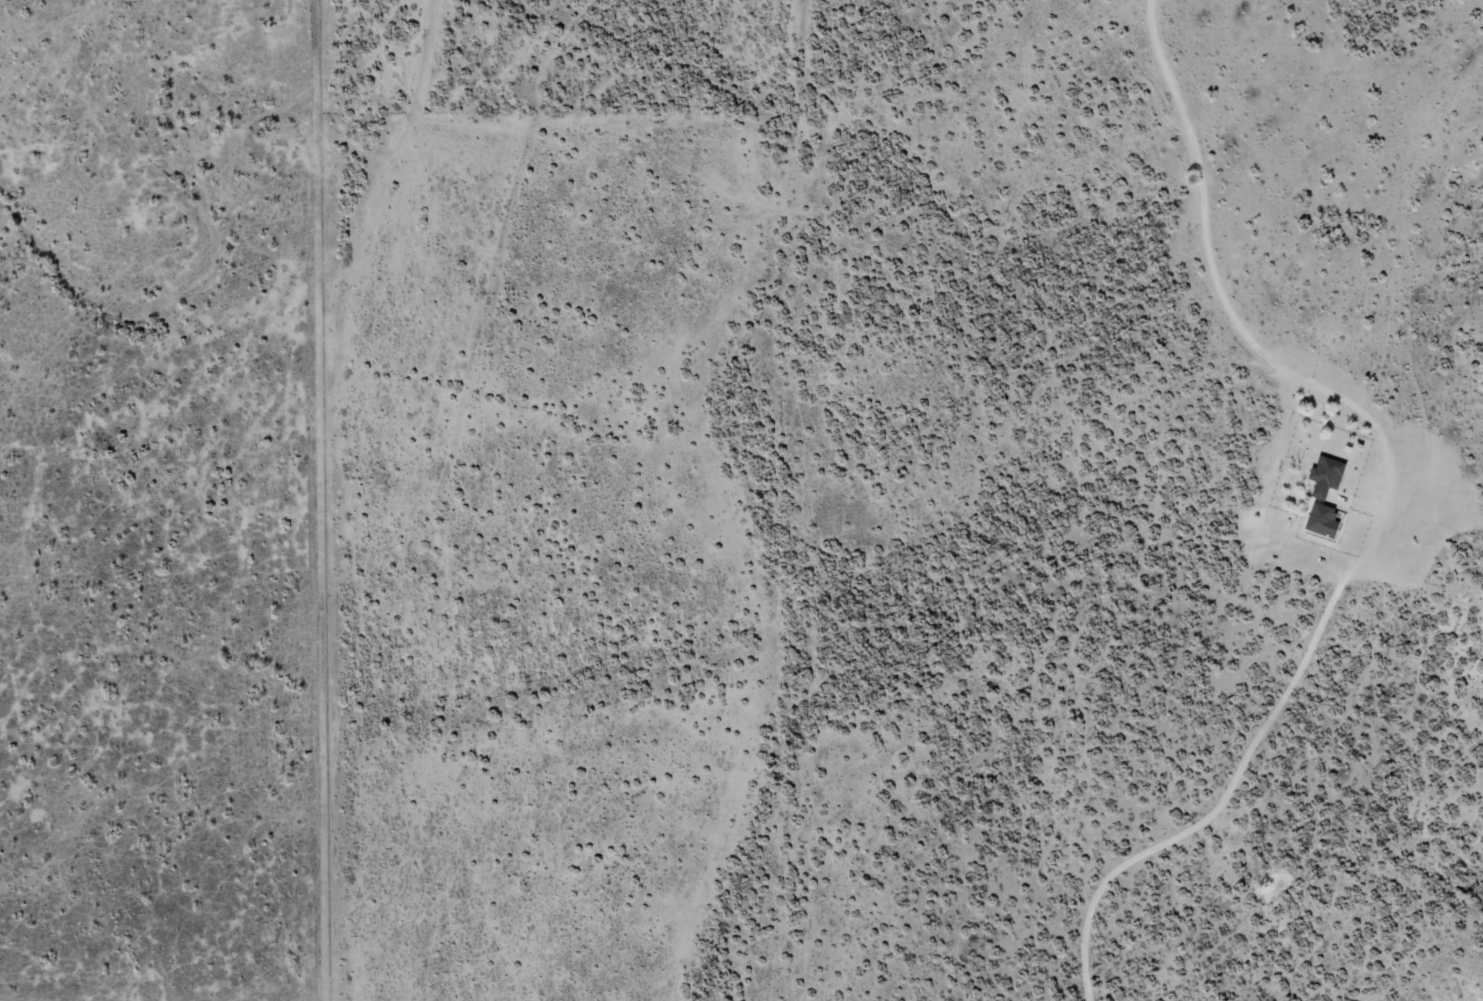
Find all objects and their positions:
building: (1325, 477)

